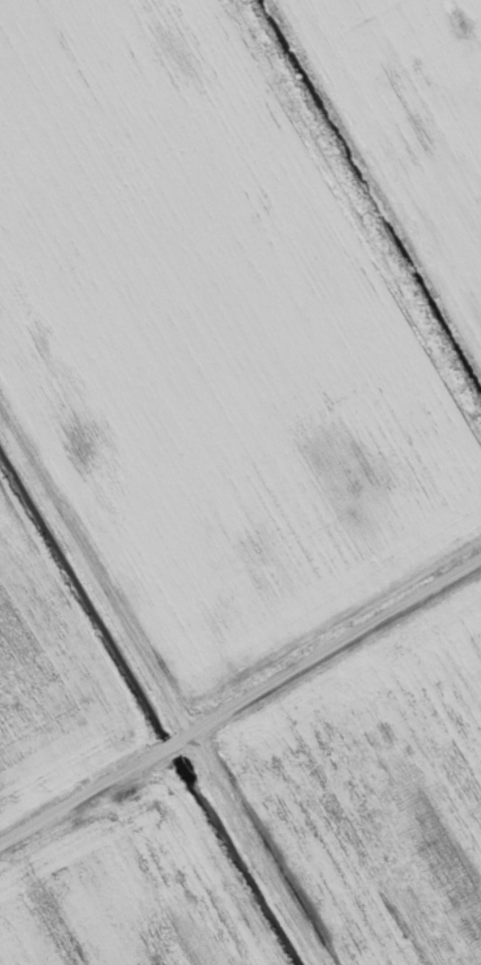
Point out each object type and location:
road: (240, 705)

